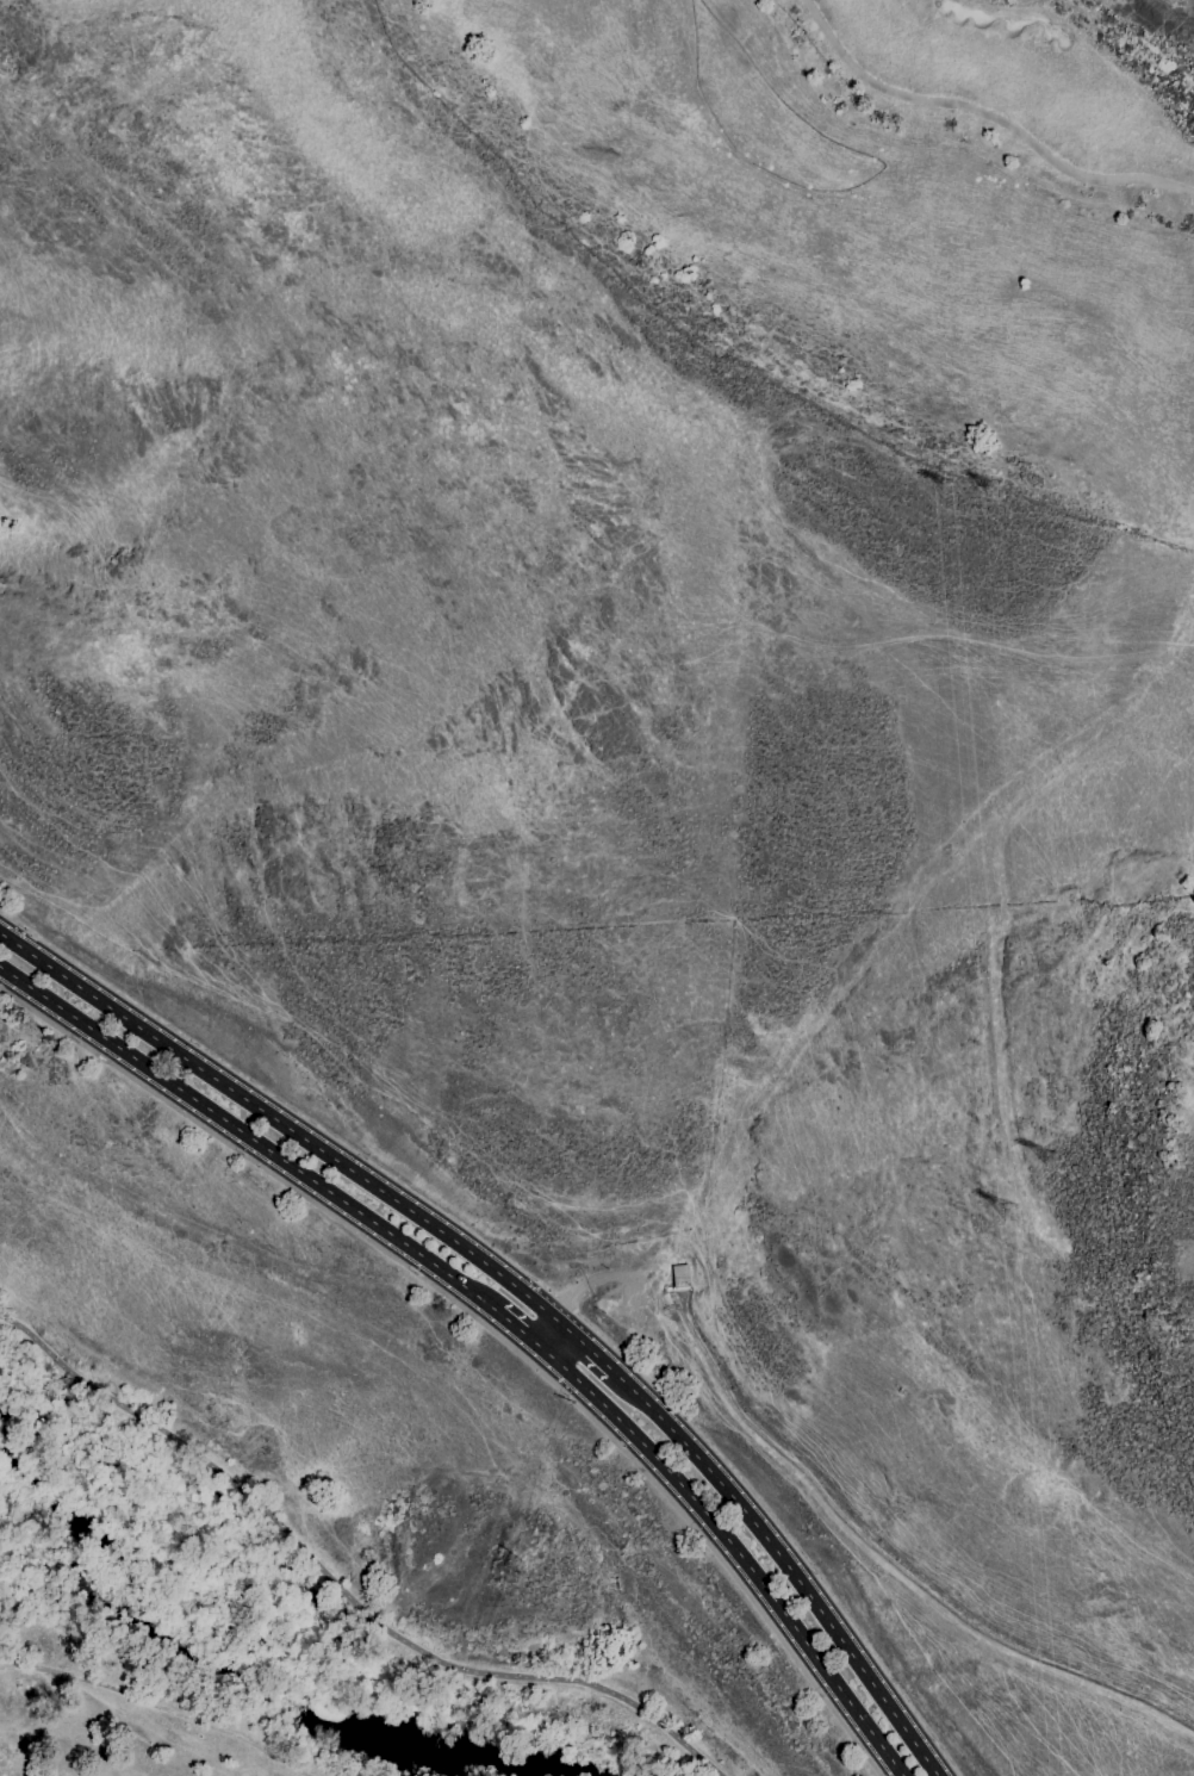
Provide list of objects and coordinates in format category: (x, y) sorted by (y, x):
park: (1021, 88)
road: (985, 113)
power tower: (946, 485)
power tower: (988, 489)
road: (286, 1125)
road: (250, 1140)
power tower: (1052, 1159)
power tower: (1014, 1215)
building: (682, 1277)
road: (536, 1283)
road: (489, 1328)
road: (522, 1334)
road: (556, 1342)
road: (593, 1354)
road: (739, 1551)
road: (789, 1570)
road: (348, 1583)
river: (223, 1664)

